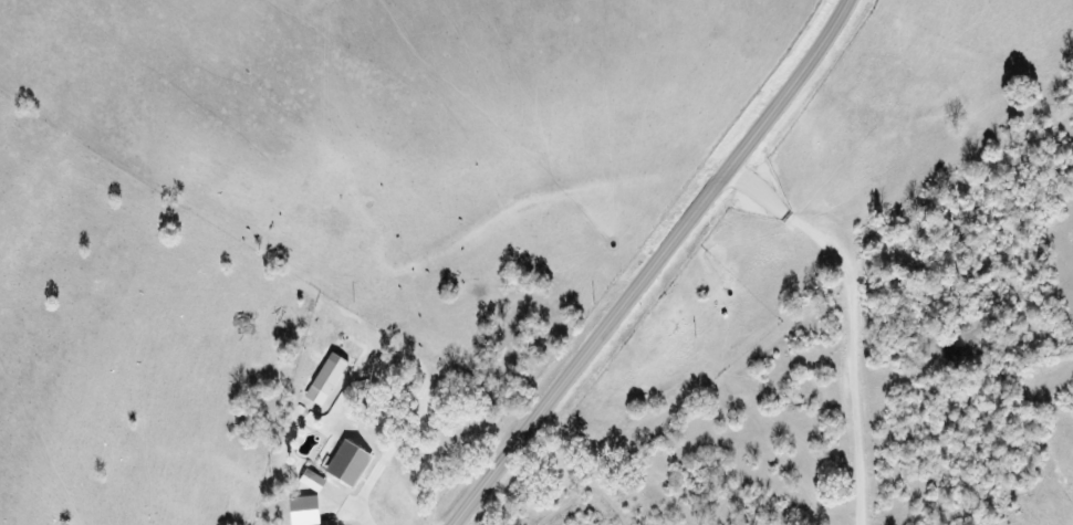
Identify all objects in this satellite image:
road: (650, 263)
road: (848, 318)
building: (321, 380)
building: (342, 462)
building: (305, 480)
building: (298, 511)

